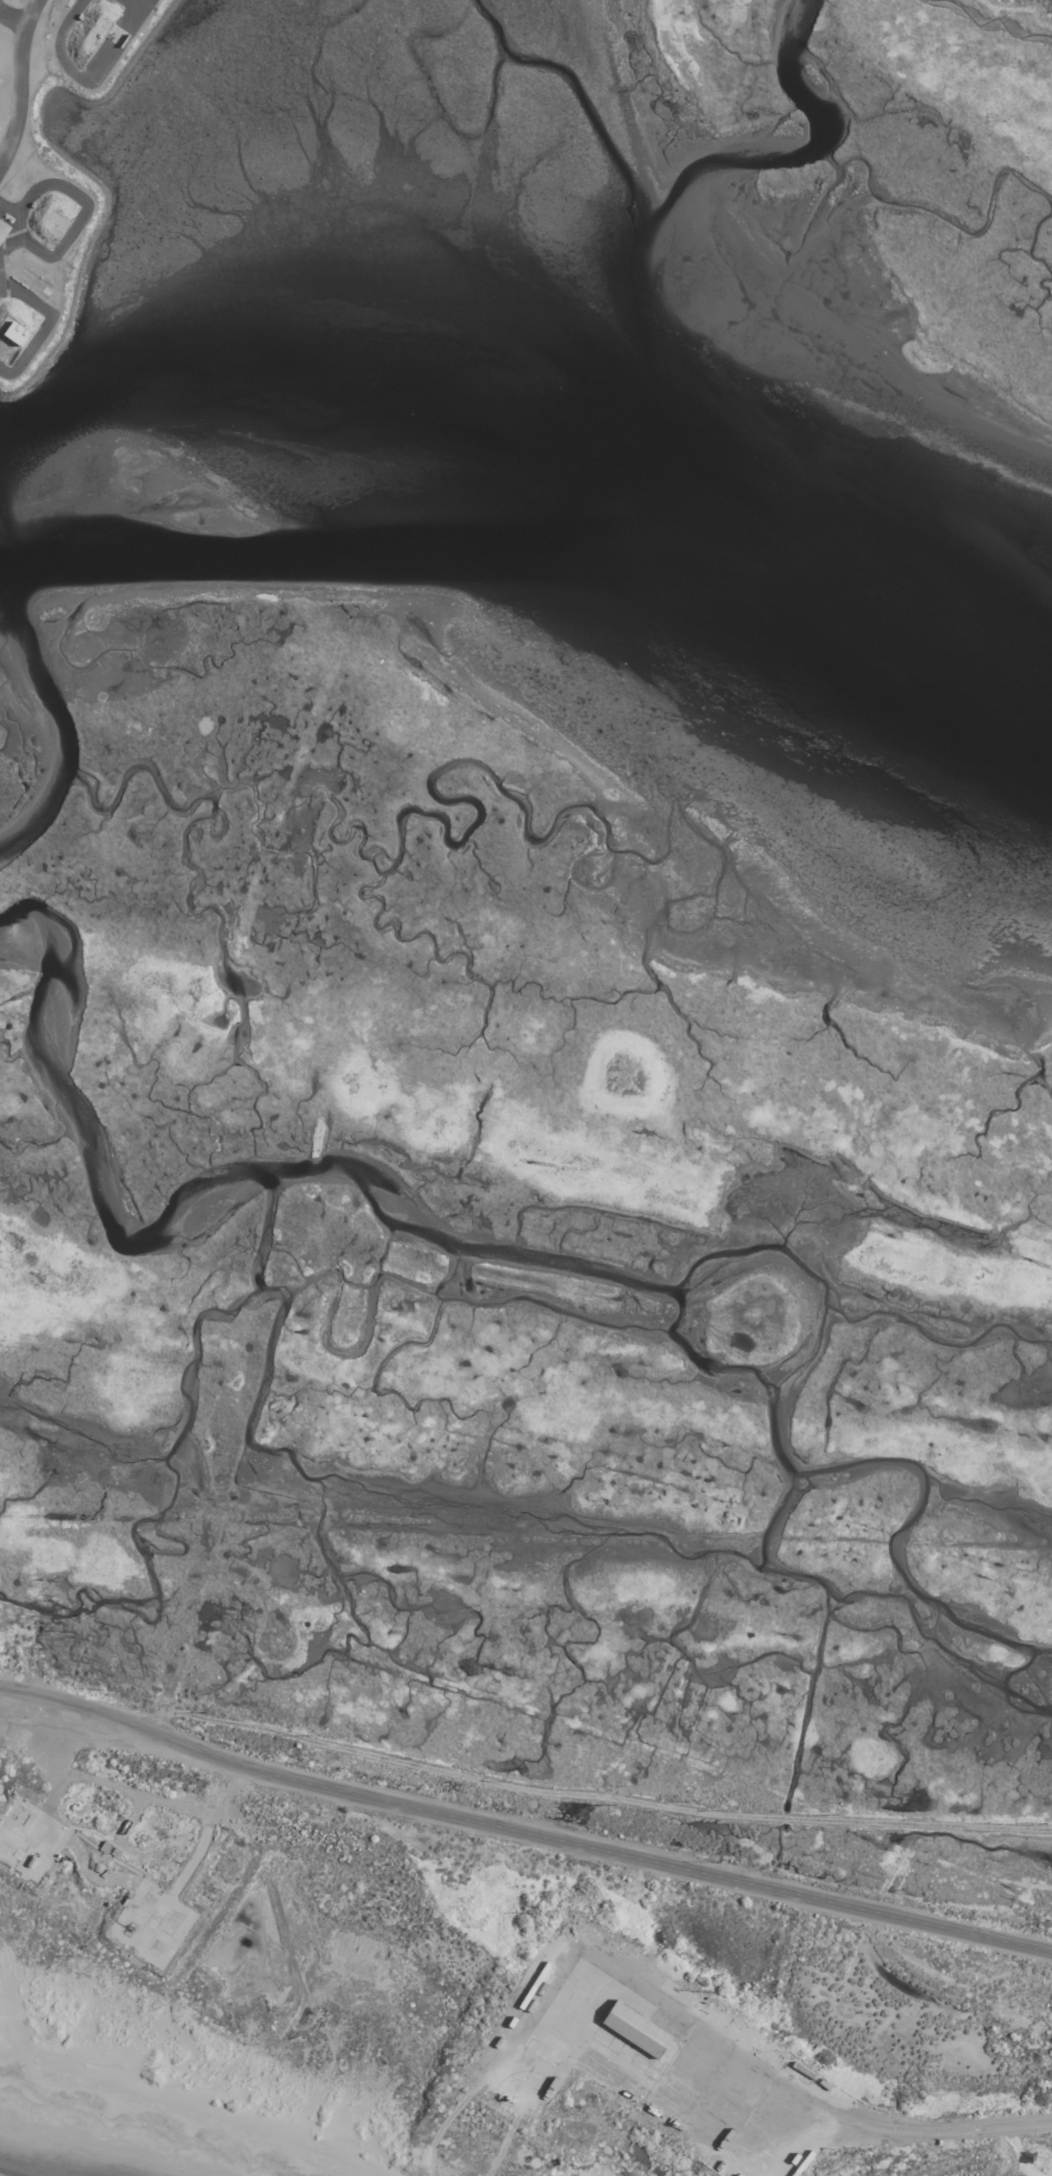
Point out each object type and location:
road: (135, 4)
road: (10, 22)
road: (17, 78)
road: (84, 78)
building: (2, 228)
road: (42, 323)
building: (13, 333)
airport: (525, 1087)
road: (269, 1277)
road: (153, 1722)
road: (577, 1794)
road: (250, 1830)
road: (521, 1832)
building: (633, 2028)
road: (870, 2122)

